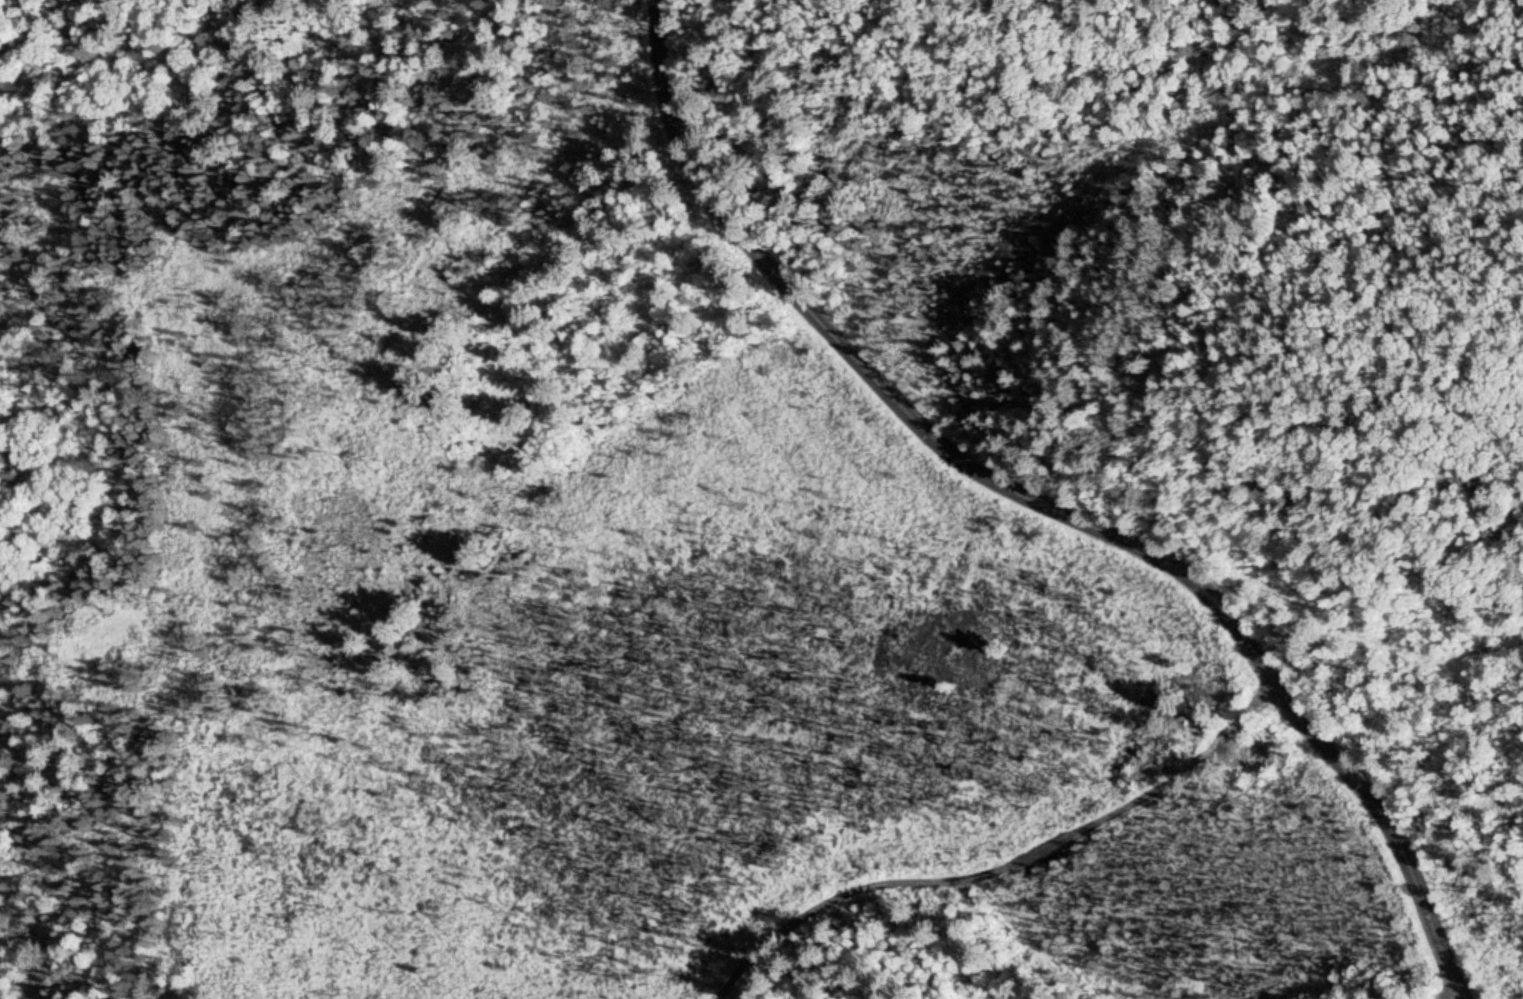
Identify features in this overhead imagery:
road: (296, 167)
road: (900, 395)
road: (1392, 828)
road: (1015, 862)

